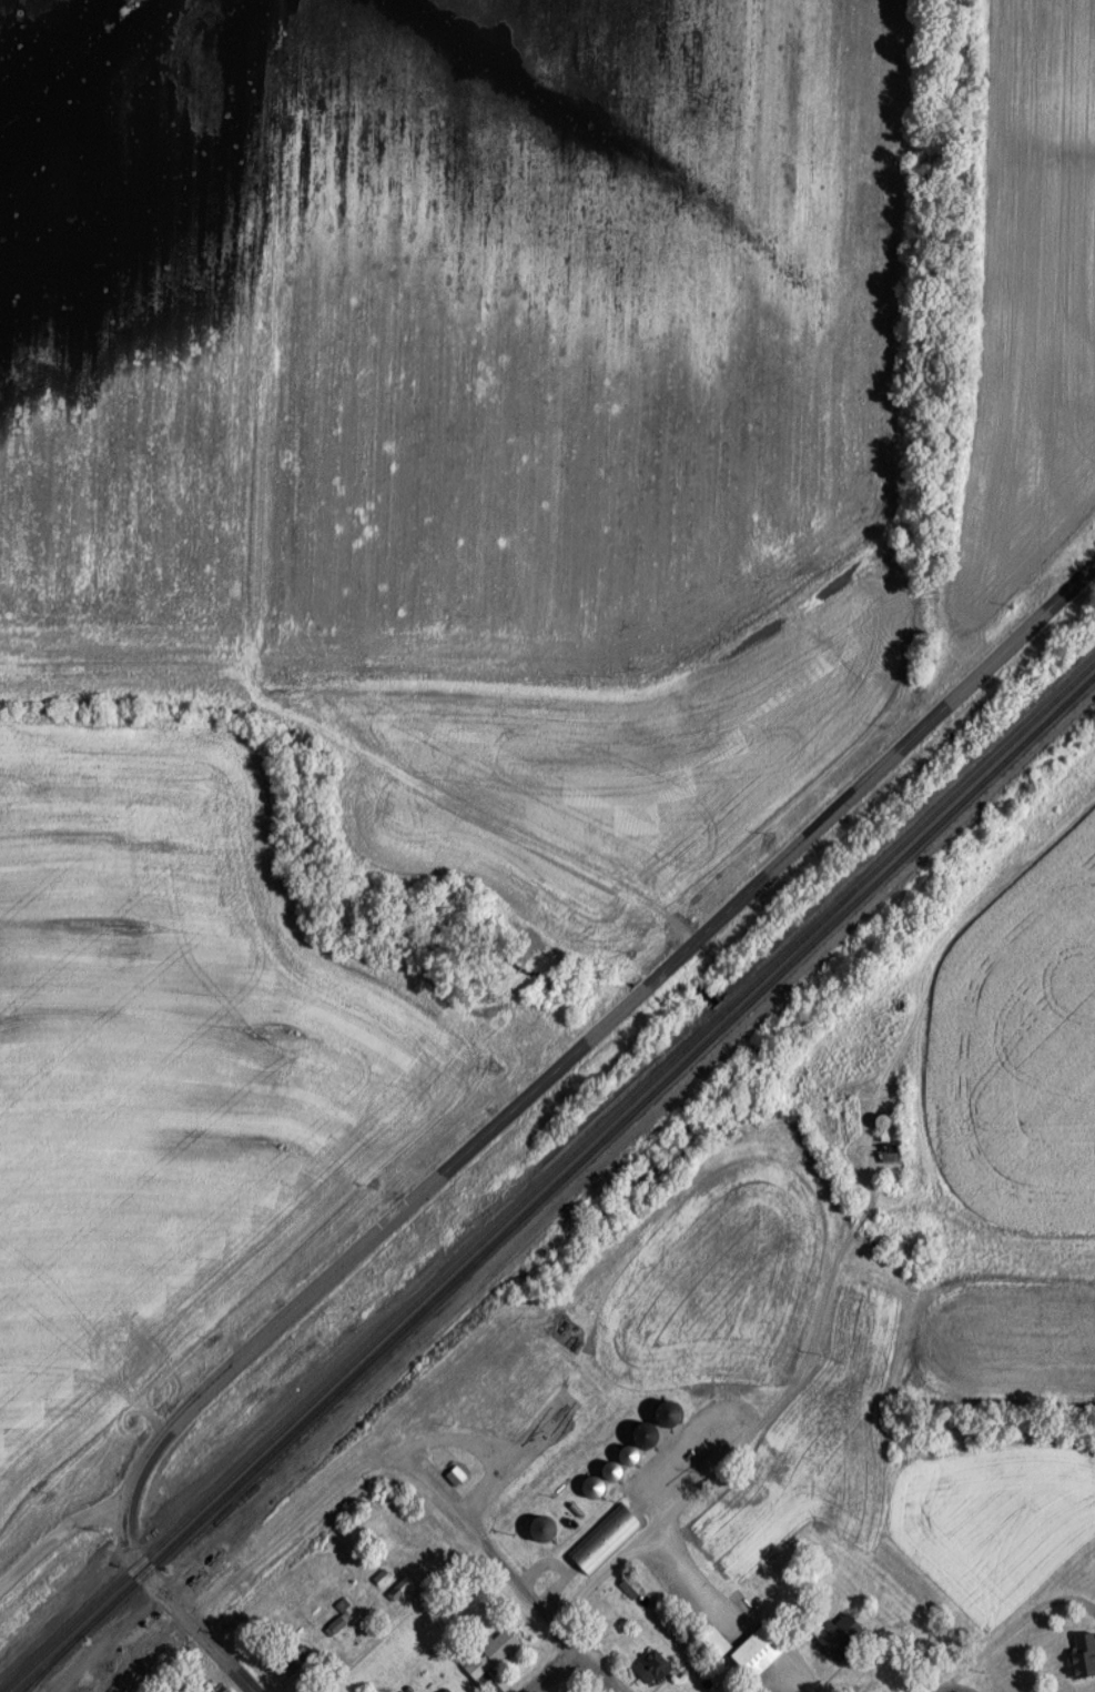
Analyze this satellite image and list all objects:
road: (476, 807)
road: (588, 1037)
railway: (609, 1154)
building: (893, 1158)
railway: (549, 1177)
railway: (558, 1186)
road: (869, 1202)
road: (860, 1218)
road: (981, 1231)
railway: (368, 1393)
building: (675, 1413)
building: (653, 1436)
road: (736, 1449)
building: (548, 1529)
road: (283, 1532)
road: (57, 1534)
road: (484, 1543)
building: (597, 1544)
building: (632, 1588)
building: (401, 1589)
road: (187, 1618)
building: (844, 1634)
building: (719, 1640)
building: (764, 1649)
building: (494, 1654)
building: (1084, 1656)
building: (296, 1658)
railway: (53, 1663)
building: (655, 1666)
road: (549, 1669)
road: (596, 1669)
road: (946, 1689)
building: (444, 1690)

